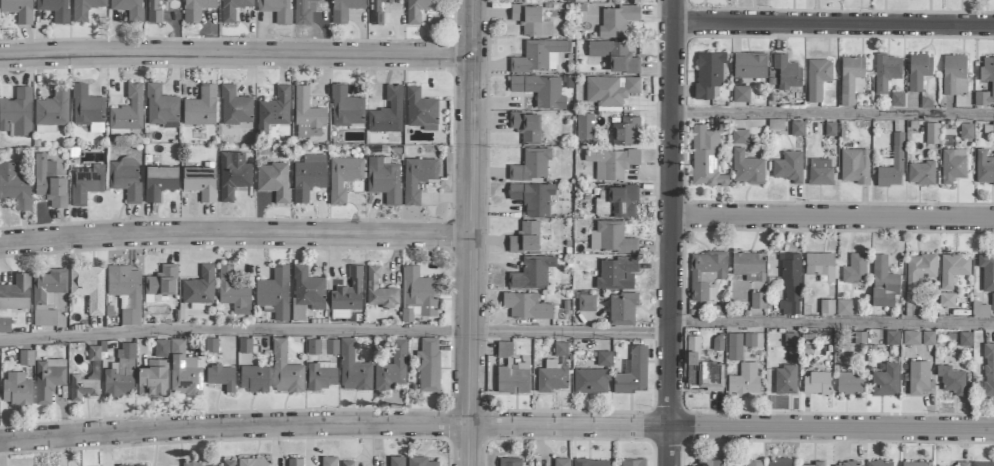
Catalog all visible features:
building: (55, 9)
building: (85, 9)
building: (129, 9)
building: (196, 9)
building: (232, 9)
building: (276, 9)
building: (344, 9)
building: (418, 9)
building: (18, 10)
building: (154, 11)
building: (377, 11)
building: (302, 12)
building: (530, 20)
building: (617, 20)
road: (835, 24)
road: (237, 55)
building: (539, 56)
building: (615, 56)
building: (749, 65)
building: (987, 69)
building: (886, 71)
building: (919, 71)
building: (787, 72)
building: (708, 73)
building: (954, 75)
building: (818, 78)
building: (851, 78)
building: (540, 90)
building: (610, 90)
building: (741, 94)
building: (897, 99)
building: (161, 106)
building: (87, 107)
building: (201, 107)
building: (235, 107)
building: (346, 108)
building: (274, 109)
building: (128, 110)
building: (421, 110)
building: (51, 111)
building: (17, 113)
building: (387, 113)
building: (307, 115)
road: (834, 116)
building: (526, 126)
building: (585, 126)
building: (797, 128)
building: (830, 129)
building: (993, 129)
building: (626, 131)
building: (966, 131)
building: (932, 133)
building: (739, 137)
building: (705, 158)
building: (611, 163)
building: (531, 165)
building: (892, 165)
building: (953, 165)
building: (854, 166)
building: (788, 167)
building: (984, 167)
building: (746, 168)
building: (820, 172)
building: (921, 173)
building: (233, 175)
building: (308, 177)
building: (343, 177)
building: (417, 177)
building: (125, 178)
building: (384, 179)
building: (273, 180)
building: (49, 182)
building: (159, 182)
building: (200, 182)
building: (86, 184)
building: (14, 186)
building: (532, 198)
building: (616, 201)
road: (834, 218)
road: (472, 232)
road: (673, 232)
road: (235, 234)
building: (525, 237)
building: (611, 238)
building: (820, 265)
building: (749, 266)
building: (855, 269)
building: (952, 269)
building: (987, 270)
building: (532, 273)
building: (616, 273)
building: (706, 274)
building: (918, 274)
building: (160, 283)
building: (883, 283)
building: (790, 284)
building: (89, 286)
building: (199, 287)
building: (379, 290)
building: (126, 292)
building: (233, 292)
building: (274, 292)
building: (306, 292)
building: (418, 294)
building: (47, 295)
building: (347, 295)
building: (13, 299)
building: (758, 300)
building: (946, 300)
building: (992, 302)
building: (586, 303)
building: (526, 306)
building: (826, 307)
building: (843, 307)
building: (622, 309)
building: (980, 309)
road: (833, 324)
road: (336, 331)
building: (859, 338)
building: (892, 338)
building: (911, 338)
building: (927, 338)
building: (965, 339)
building: (749, 340)
building: (790, 340)
building: (245, 345)
building: (313, 347)
building: (331, 347)
building: (734, 347)
building: (161, 348)
building: (504, 349)
building: (561, 349)
building: (692, 350)
building: (26, 358)
building: (604, 359)
building: (428, 365)
building: (392, 368)
building: (353, 369)
building: (988, 369)
building: (285, 370)
building: (185, 371)
building: (632, 372)
building: (120, 373)
building: (710, 374)
building: (321, 375)
building: (221, 376)
building: (551, 377)
building: (254, 378)
building: (513, 378)
building: (919, 378)
building: (48, 379)
building: (86, 379)
building: (153, 379)
building: (785, 379)
building: (744, 380)
building: (886, 380)
building: (951, 380)
building: (591, 381)
building: (816, 383)
building: (849, 383)
building: (16, 389)
road: (496, 429)
building: (328, 461)
building: (396, 461)
building: (420, 461)
building: (253, 462)
building: (294, 462)
building: (510, 462)
building: (560, 462)
building: (590, 462)
building: (632, 462)
building: (710, 462)
building: (778, 462)
building: (191, 463)
building: (226, 463)
building: (346, 463)
building: (754, 463)
building: (880, 463)
building: (963, 463)
building: (983, 463)
building: (815, 464)
building: (848, 464)
building: (916, 464)
building: (125, 465)
building: (142, 465)

